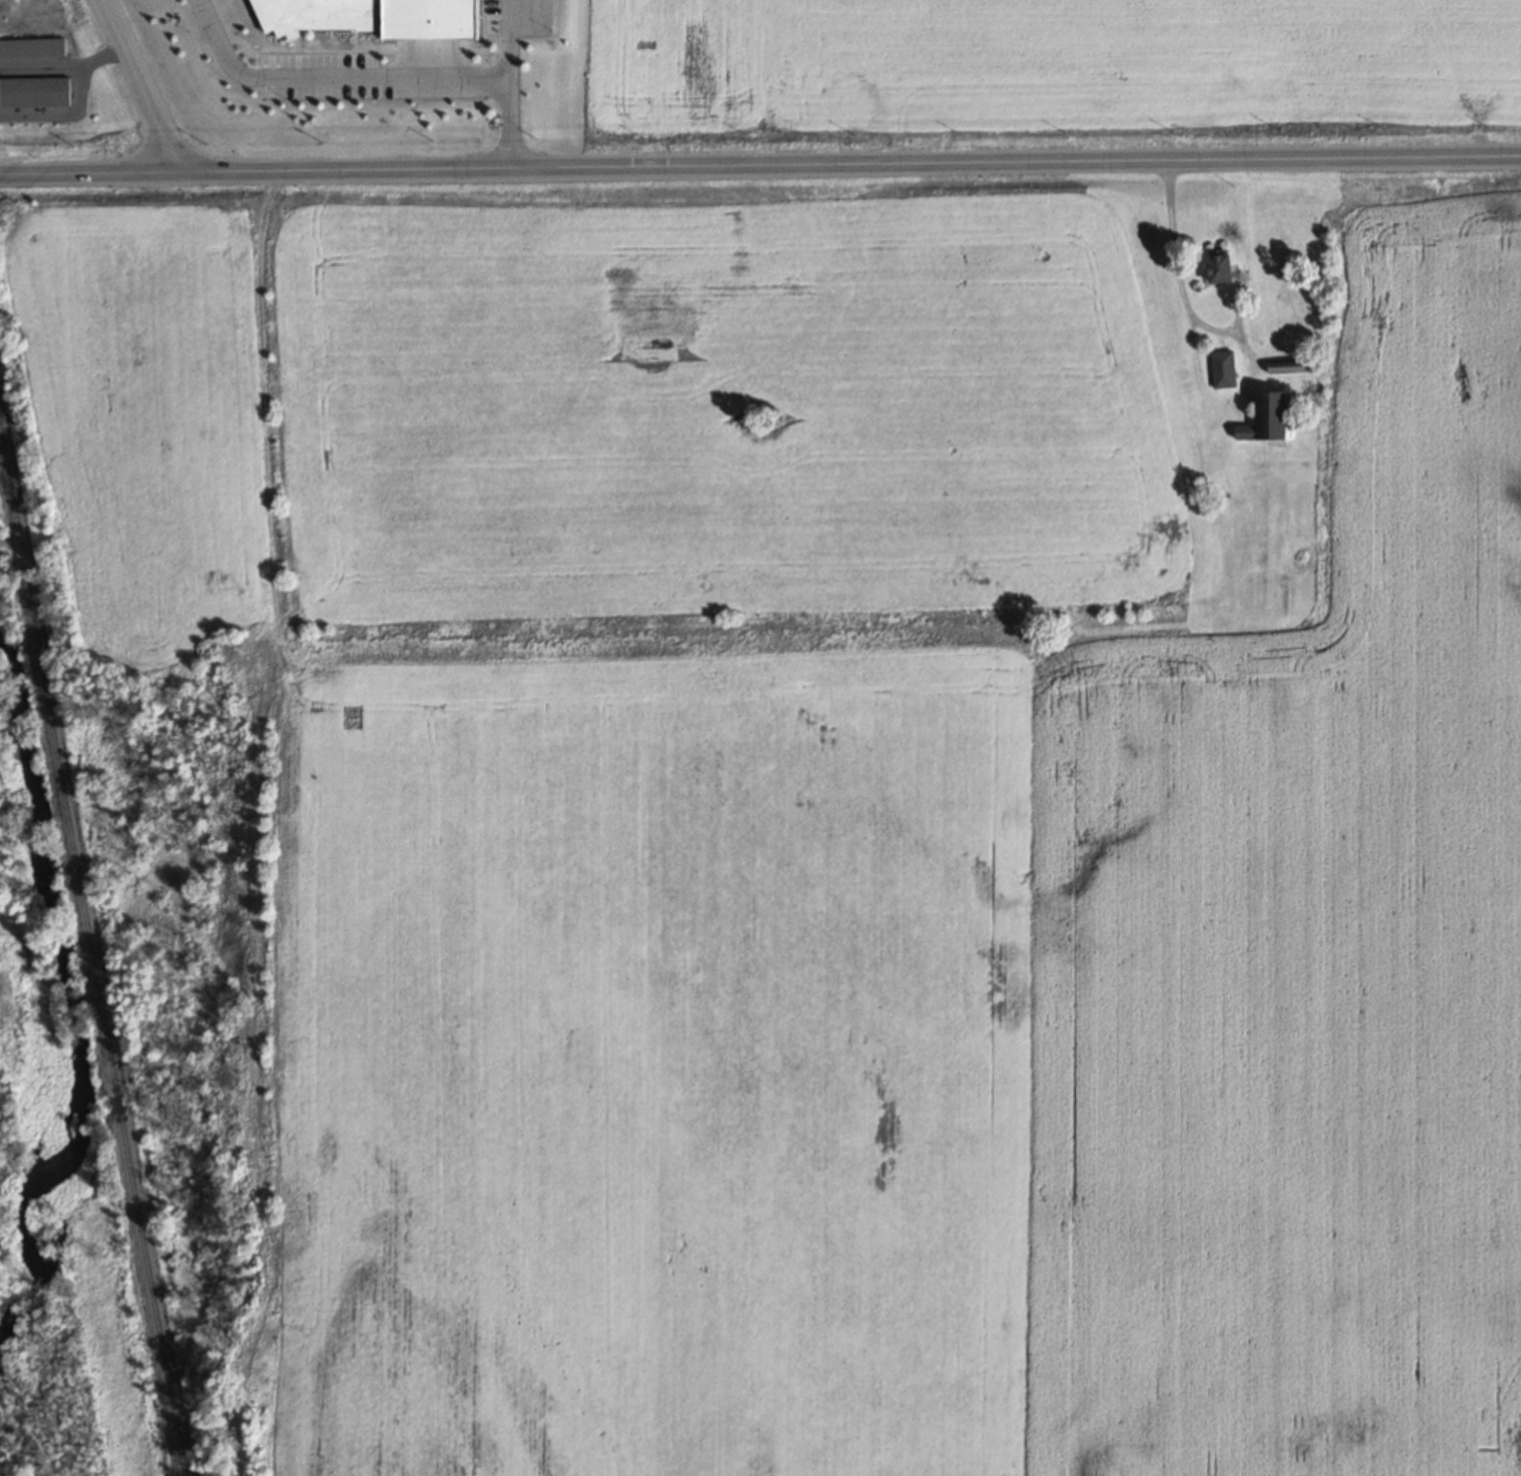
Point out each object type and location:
building: (32, 47)
road: (332, 78)
road: (511, 84)
road: (141, 86)
building: (35, 91)
road: (760, 165)
building: (1212, 267)
building: (1221, 369)
building: (1260, 418)
river: (19, 709)
railway: (100, 953)
river: (106, 1106)

